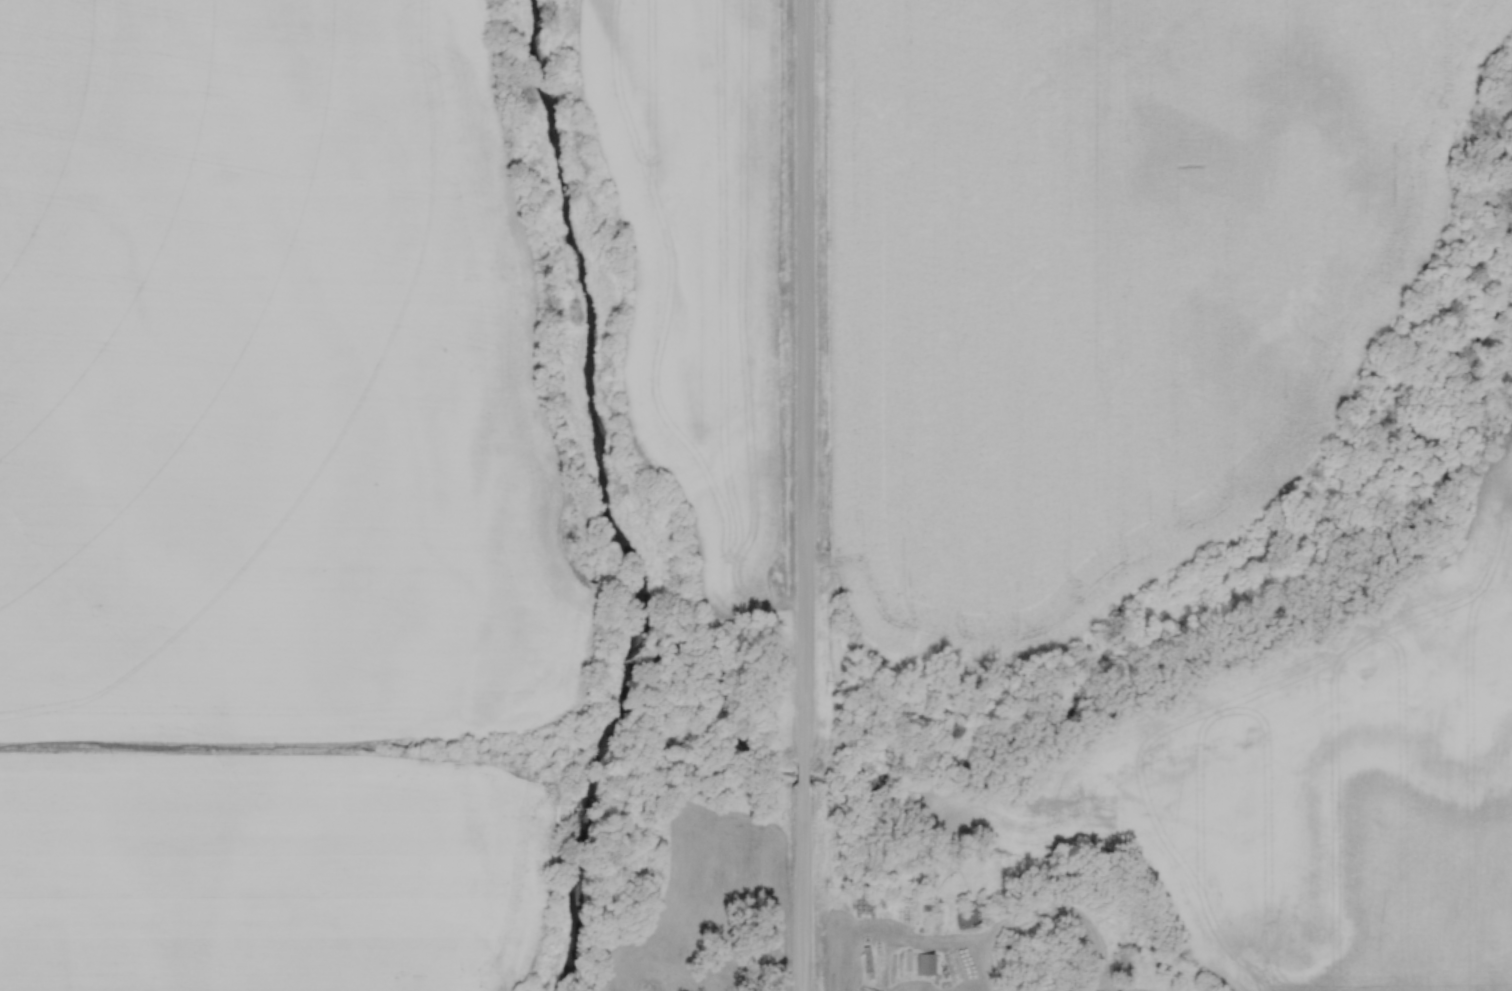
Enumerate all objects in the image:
road: (805, 495)
river: (612, 501)
road: (995, 964)
building: (925, 965)

